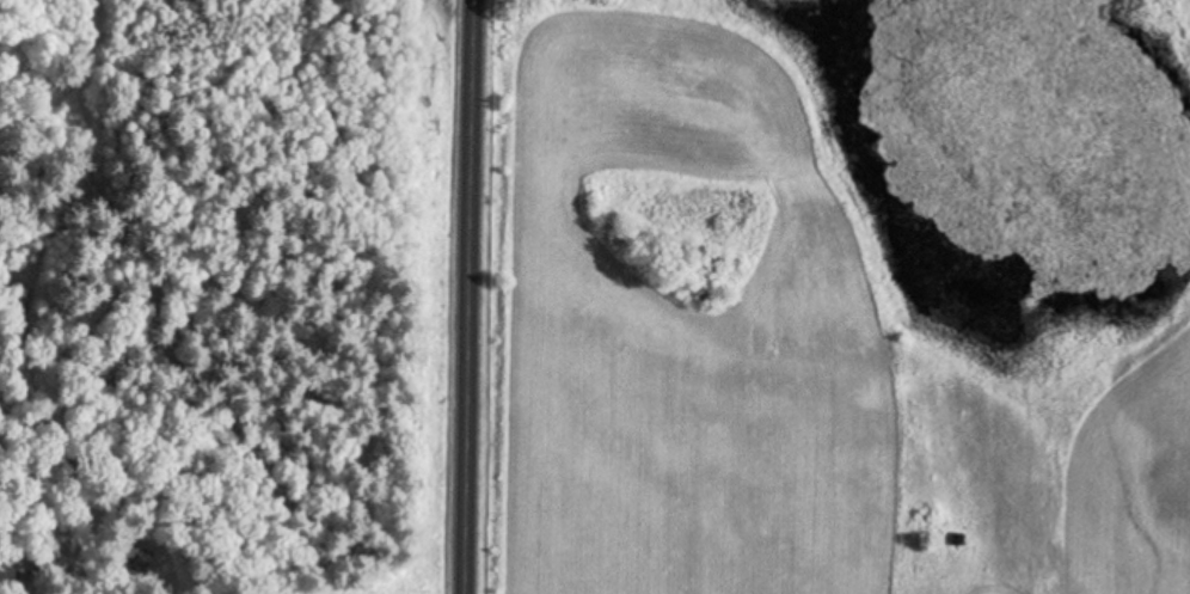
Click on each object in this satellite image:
road: (468, 296)
building: (129, 559)
building: (6, 575)

